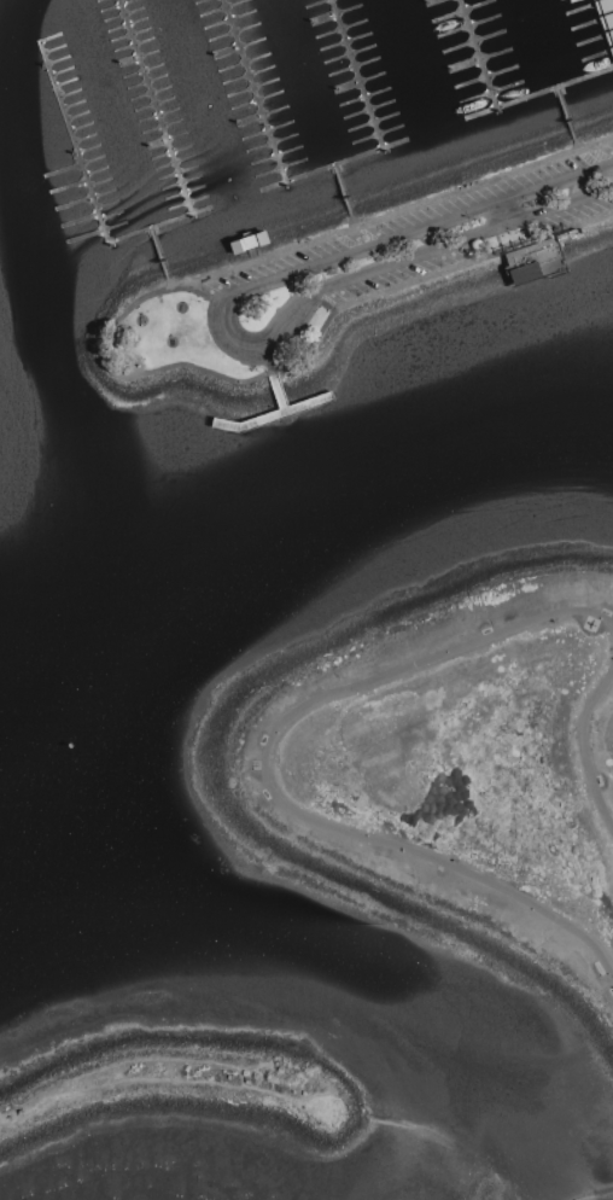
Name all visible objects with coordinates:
pier: (607, 14)
building: (606, 21)
pier: (357, 74)
pier: (255, 91)
pier: (564, 104)
pier: (502, 105)
road: (574, 136)
pier: (168, 144)
pier: (369, 151)
pier: (81, 164)
pier: (314, 170)
road: (350, 212)
building: (250, 241)
building: (529, 261)
road: (167, 275)
pier: (553, 289)
pier: (541, 304)
road: (226, 325)
road: (115, 351)
pier: (279, 395)
pier: (273, 415)
road: (584, 748)
park: (450, 767)
road: (267, 781)
road: (567, 838)
road: (609, 973)

